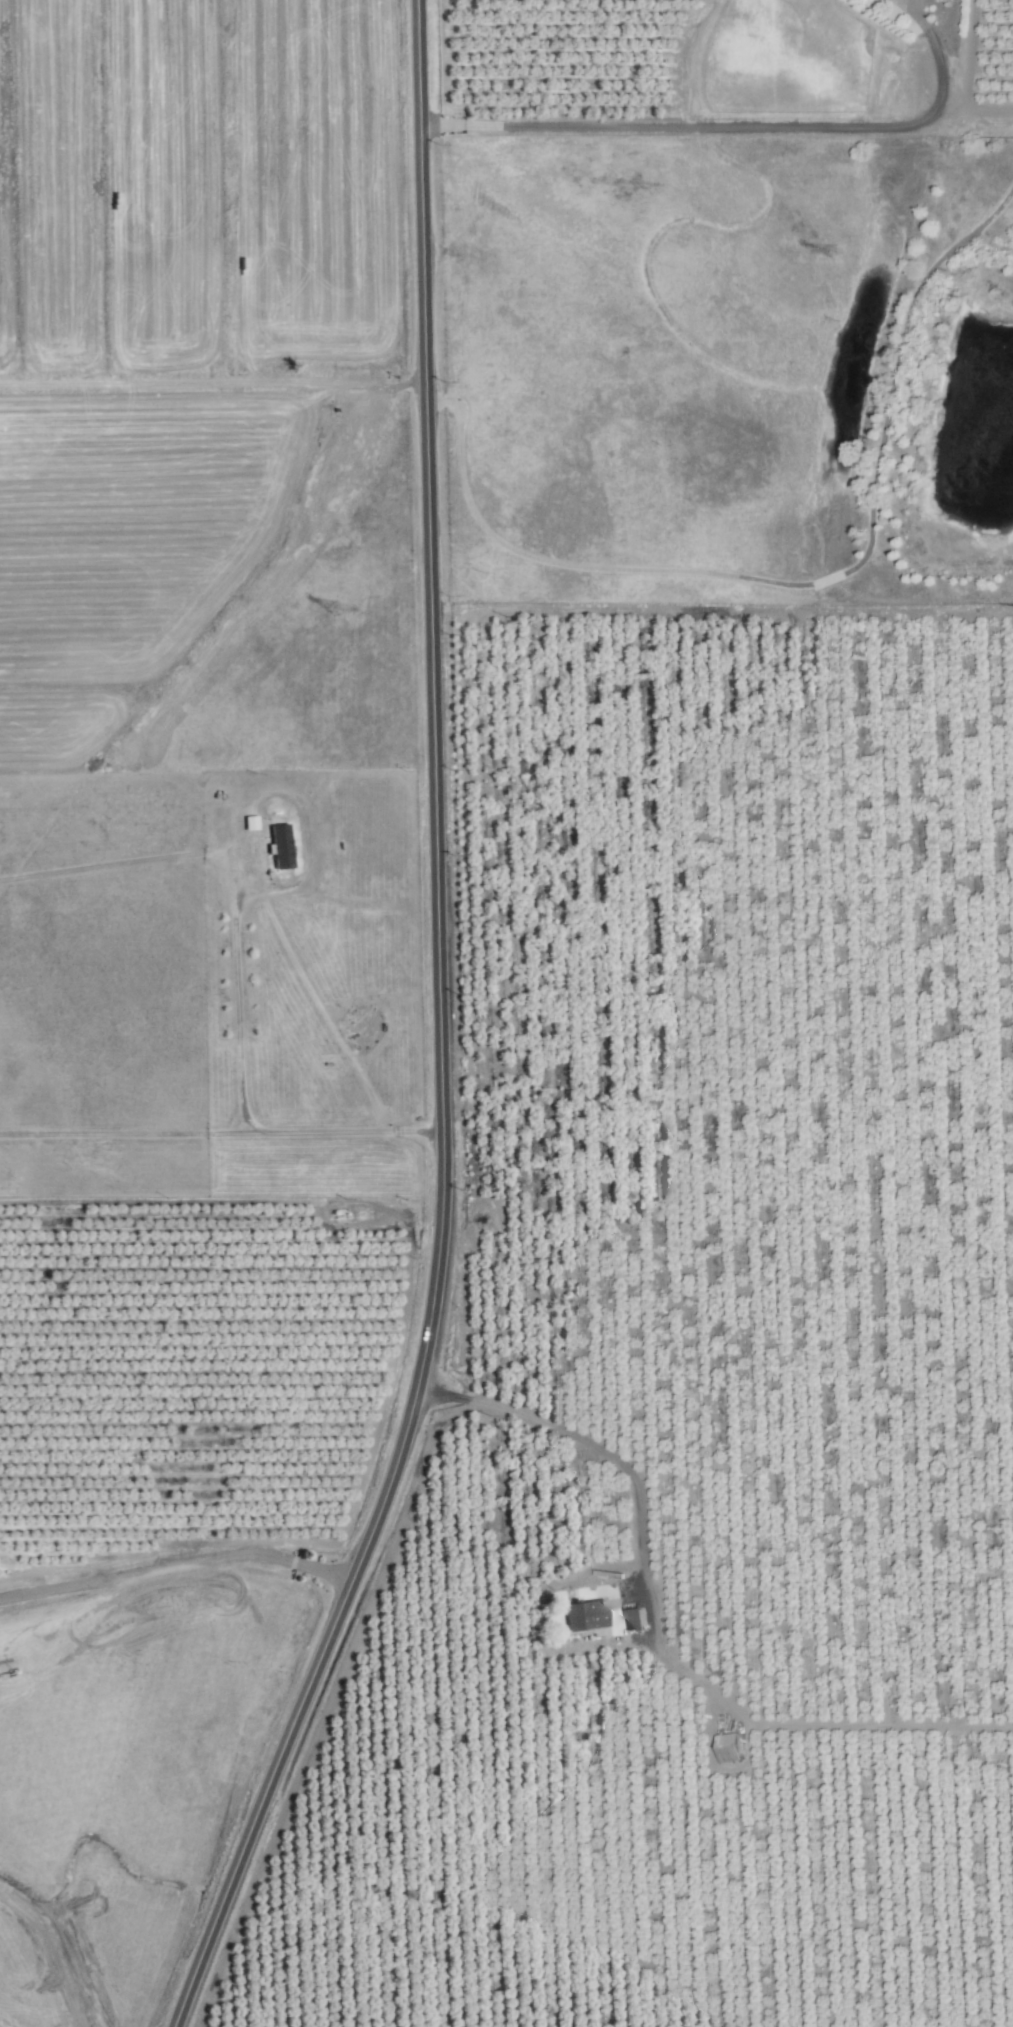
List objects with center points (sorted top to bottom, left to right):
road: (740, 126)
power tower: (834, 254)
road: (801, 584)
power tower: (334, 609)
building: (281, 847)
road: (235, 870)
road: (441, 1037)
road: (344, 1132)
road: (122, 1134)
road: (587, 1439)
road: (176, 1567)
building: (586, 1616)
building: (727, 1748)

